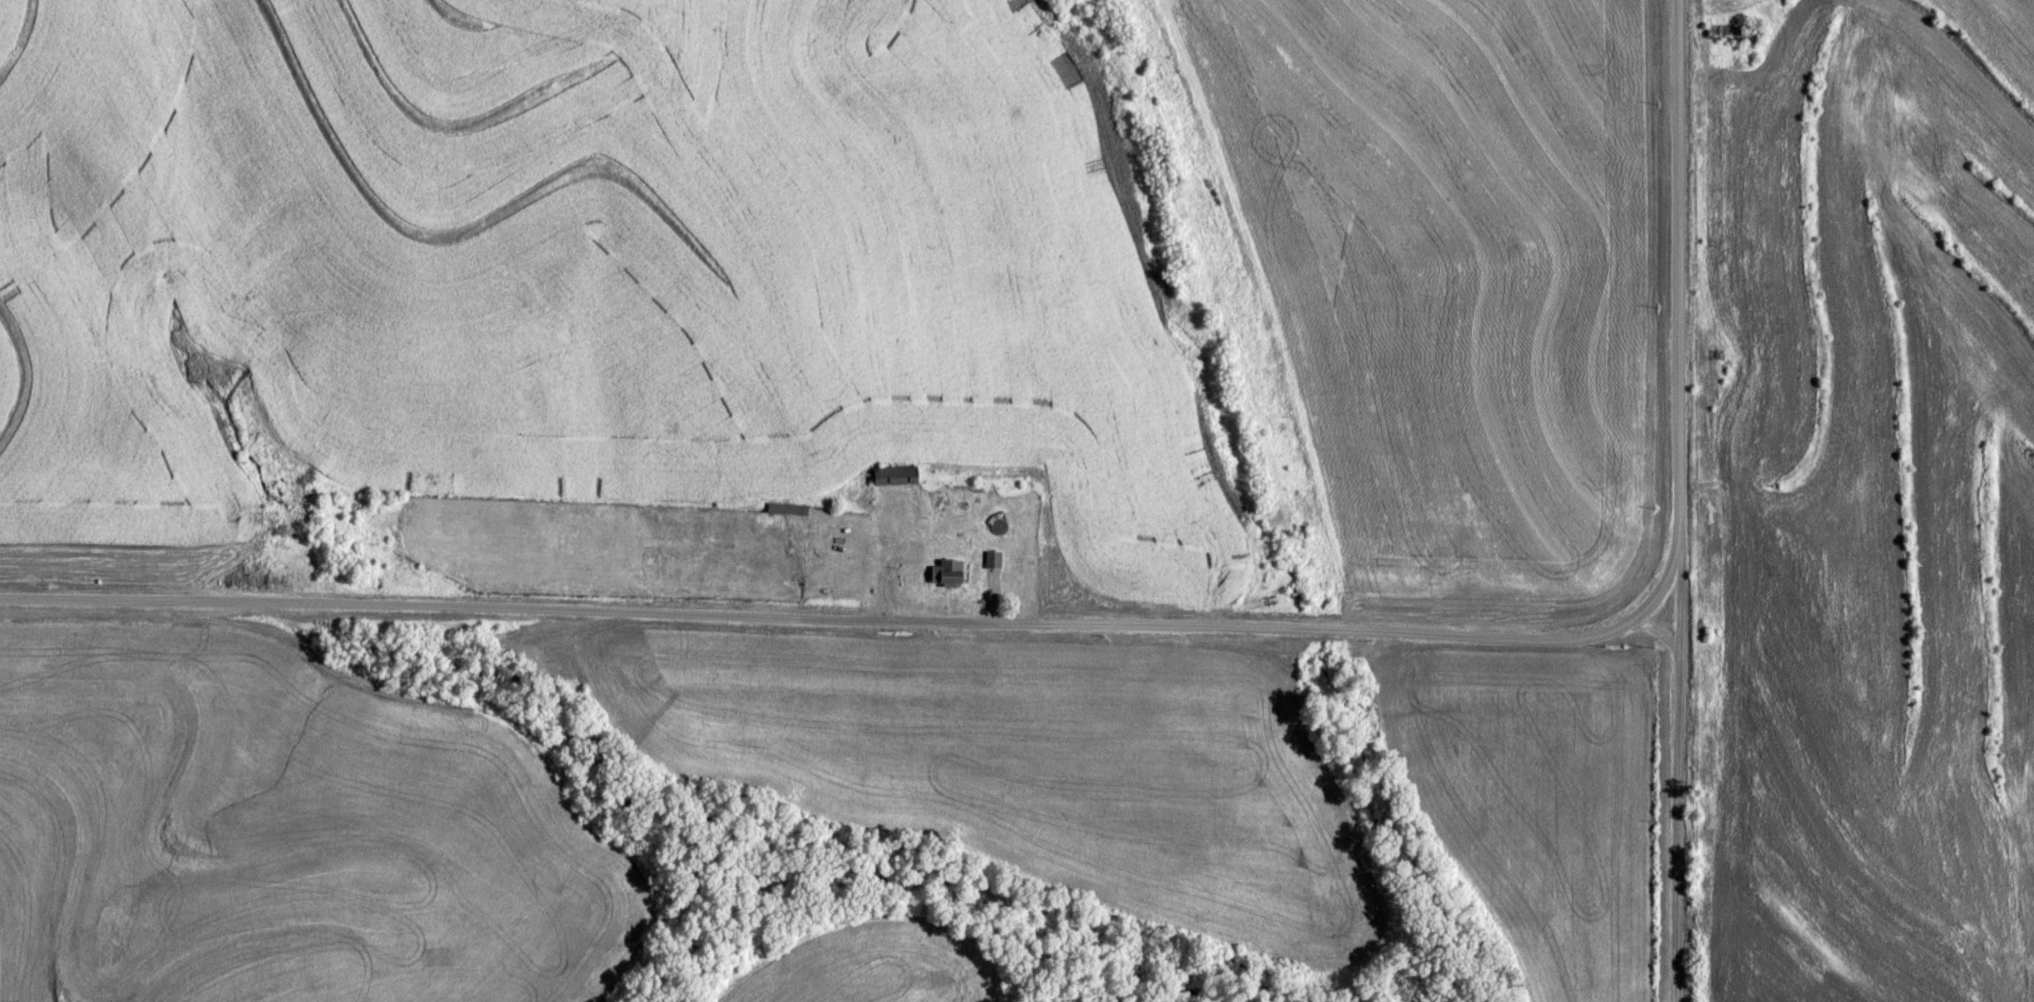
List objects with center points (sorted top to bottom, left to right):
building: (1725, 363)
building: (897, 473)
road: (1677, 501)
building: (785, 507)
building: (951, 569)
road: (862, 616)
road: (1658, 625)

